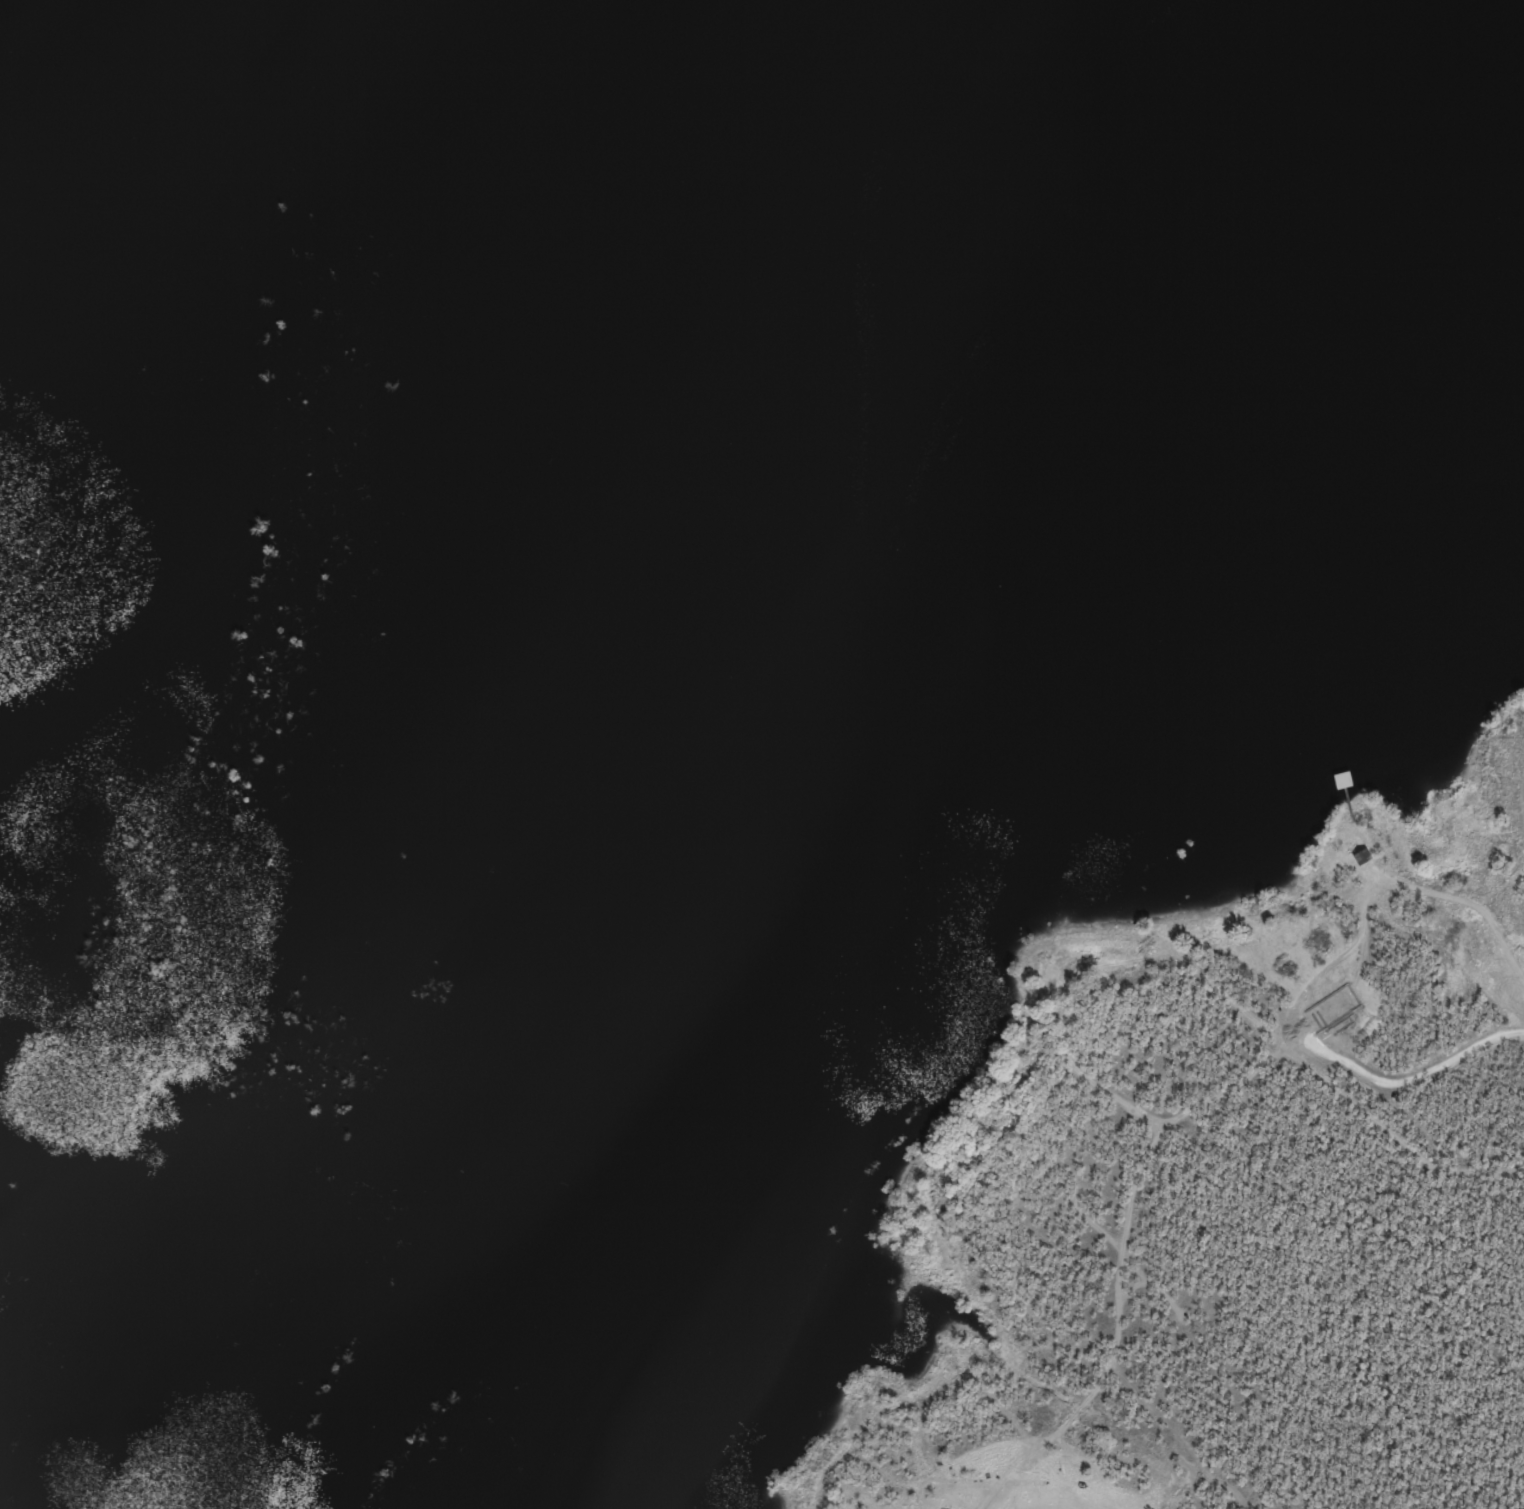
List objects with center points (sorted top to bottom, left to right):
building: (1343, 788)

